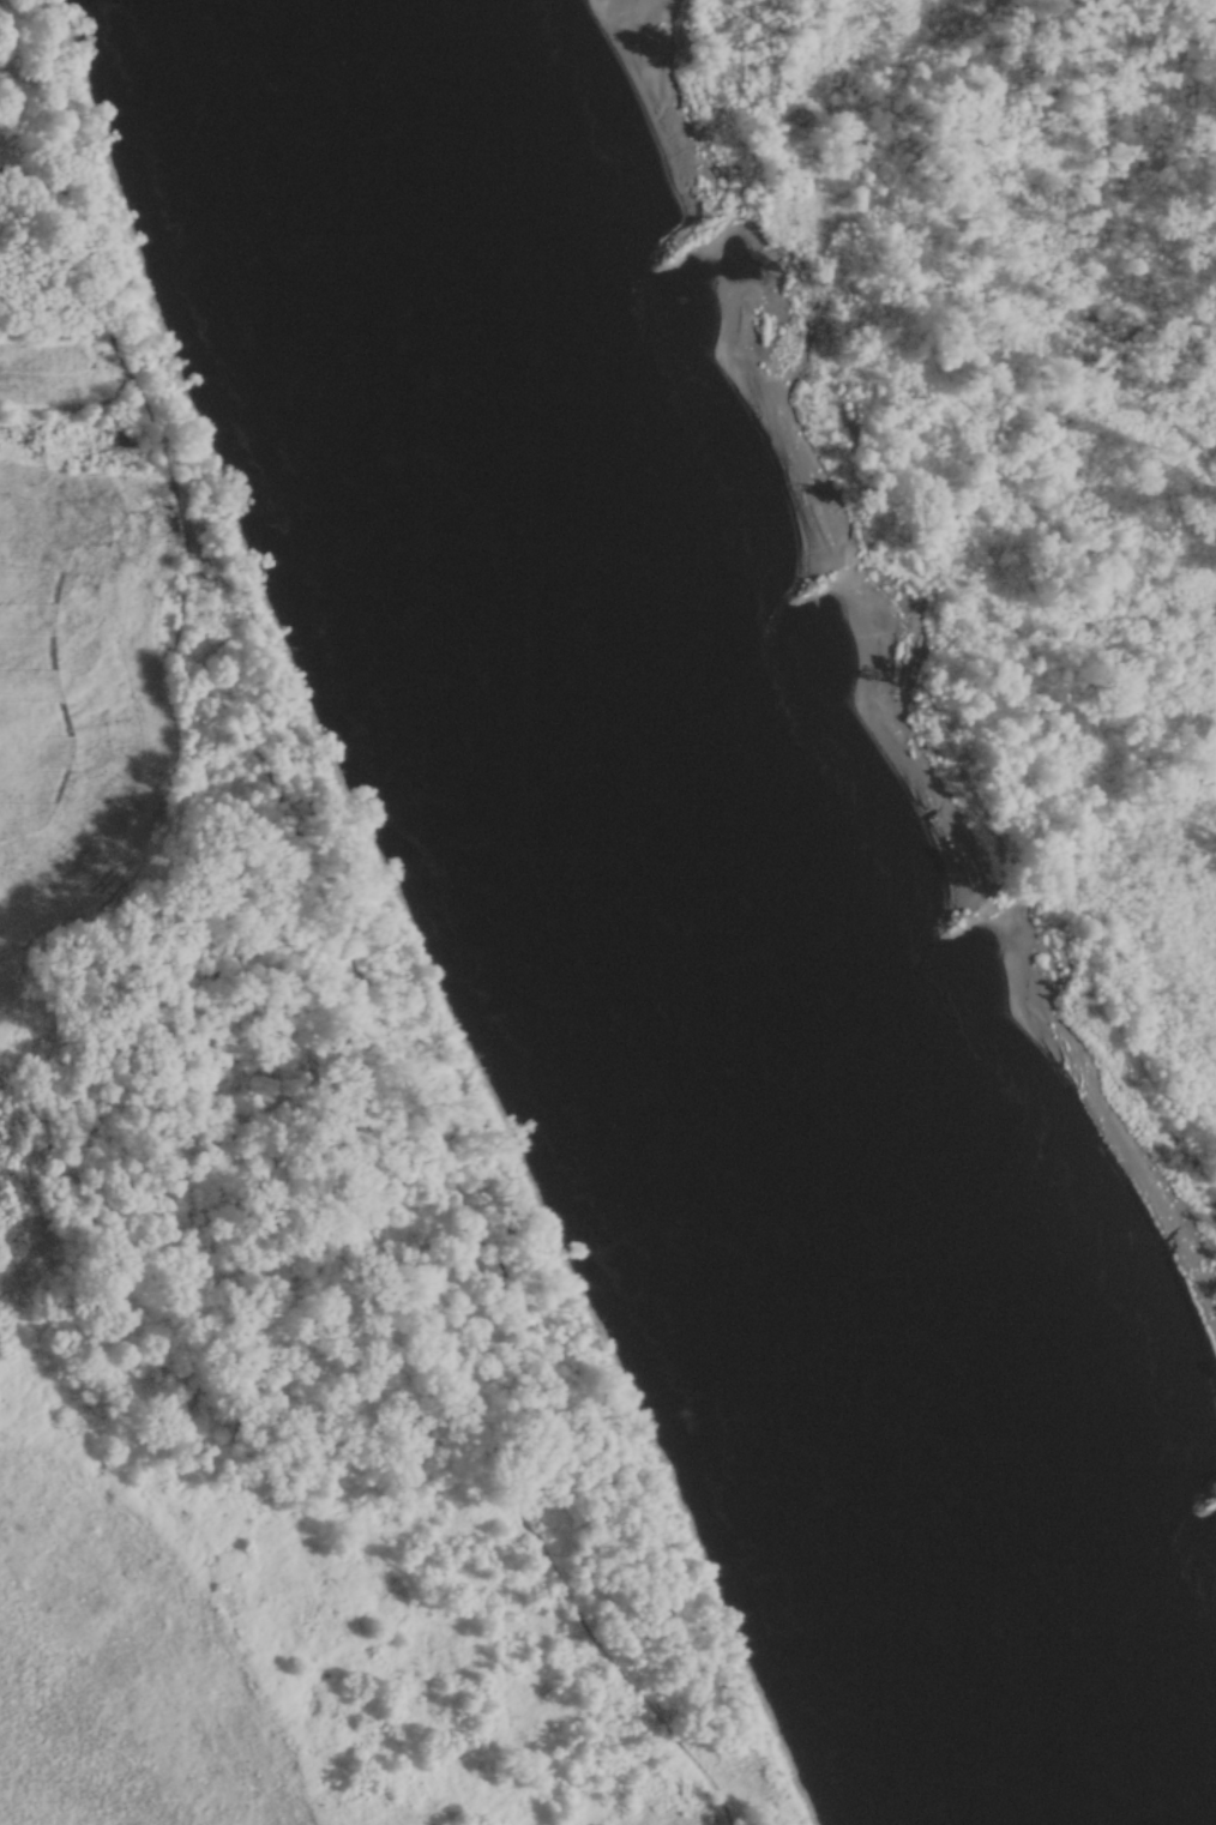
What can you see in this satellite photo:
river: (637, 759)
road: (217, 1625)
river: (1027, 1668)

